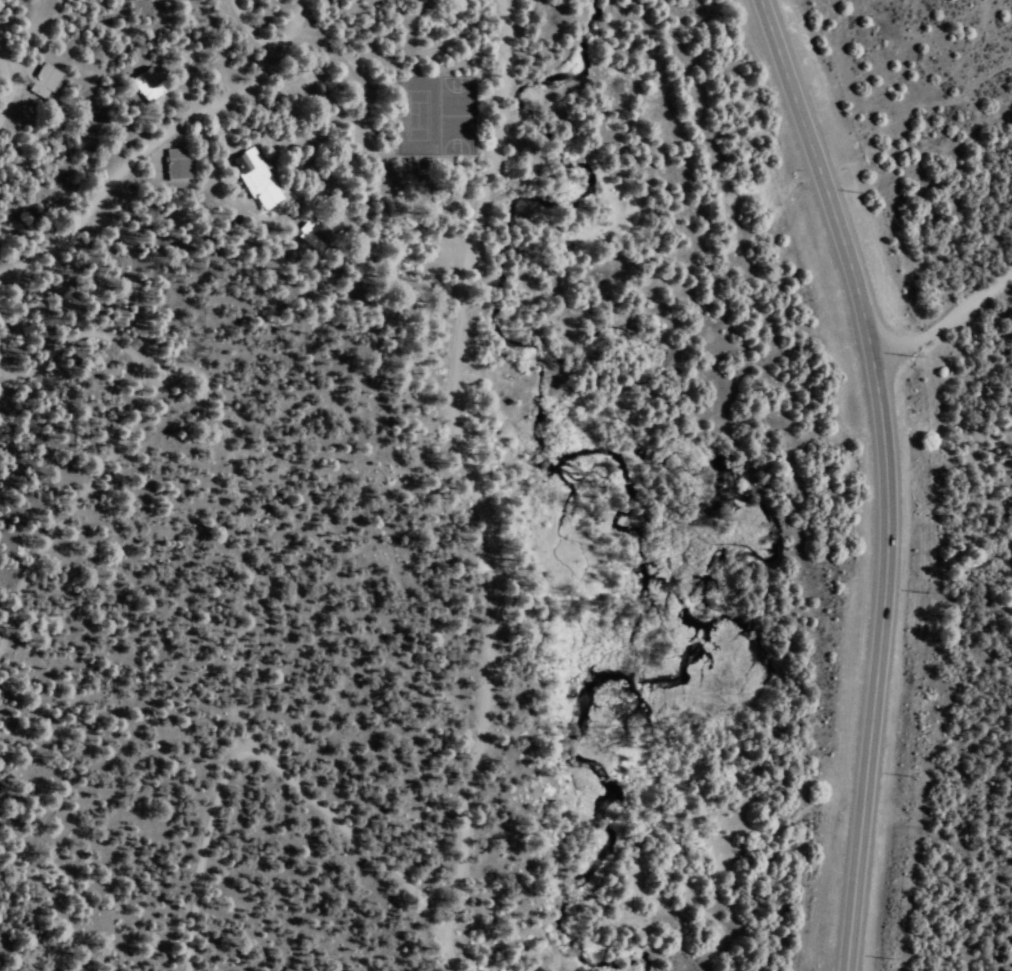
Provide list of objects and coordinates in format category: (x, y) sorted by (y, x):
road: (254, 29)
road: (291, 38)
building: (43, 81)
road: (3, 84)
building: (146, 84)
park: (436, 114)
building: (176, 164)
road: (123, 167)
building: (255, 178)
building: (311, 241)
road: (16, 320)
road: (944, 328)
road: (187, 377)
road: (465, 452)
road: (884, 477)

